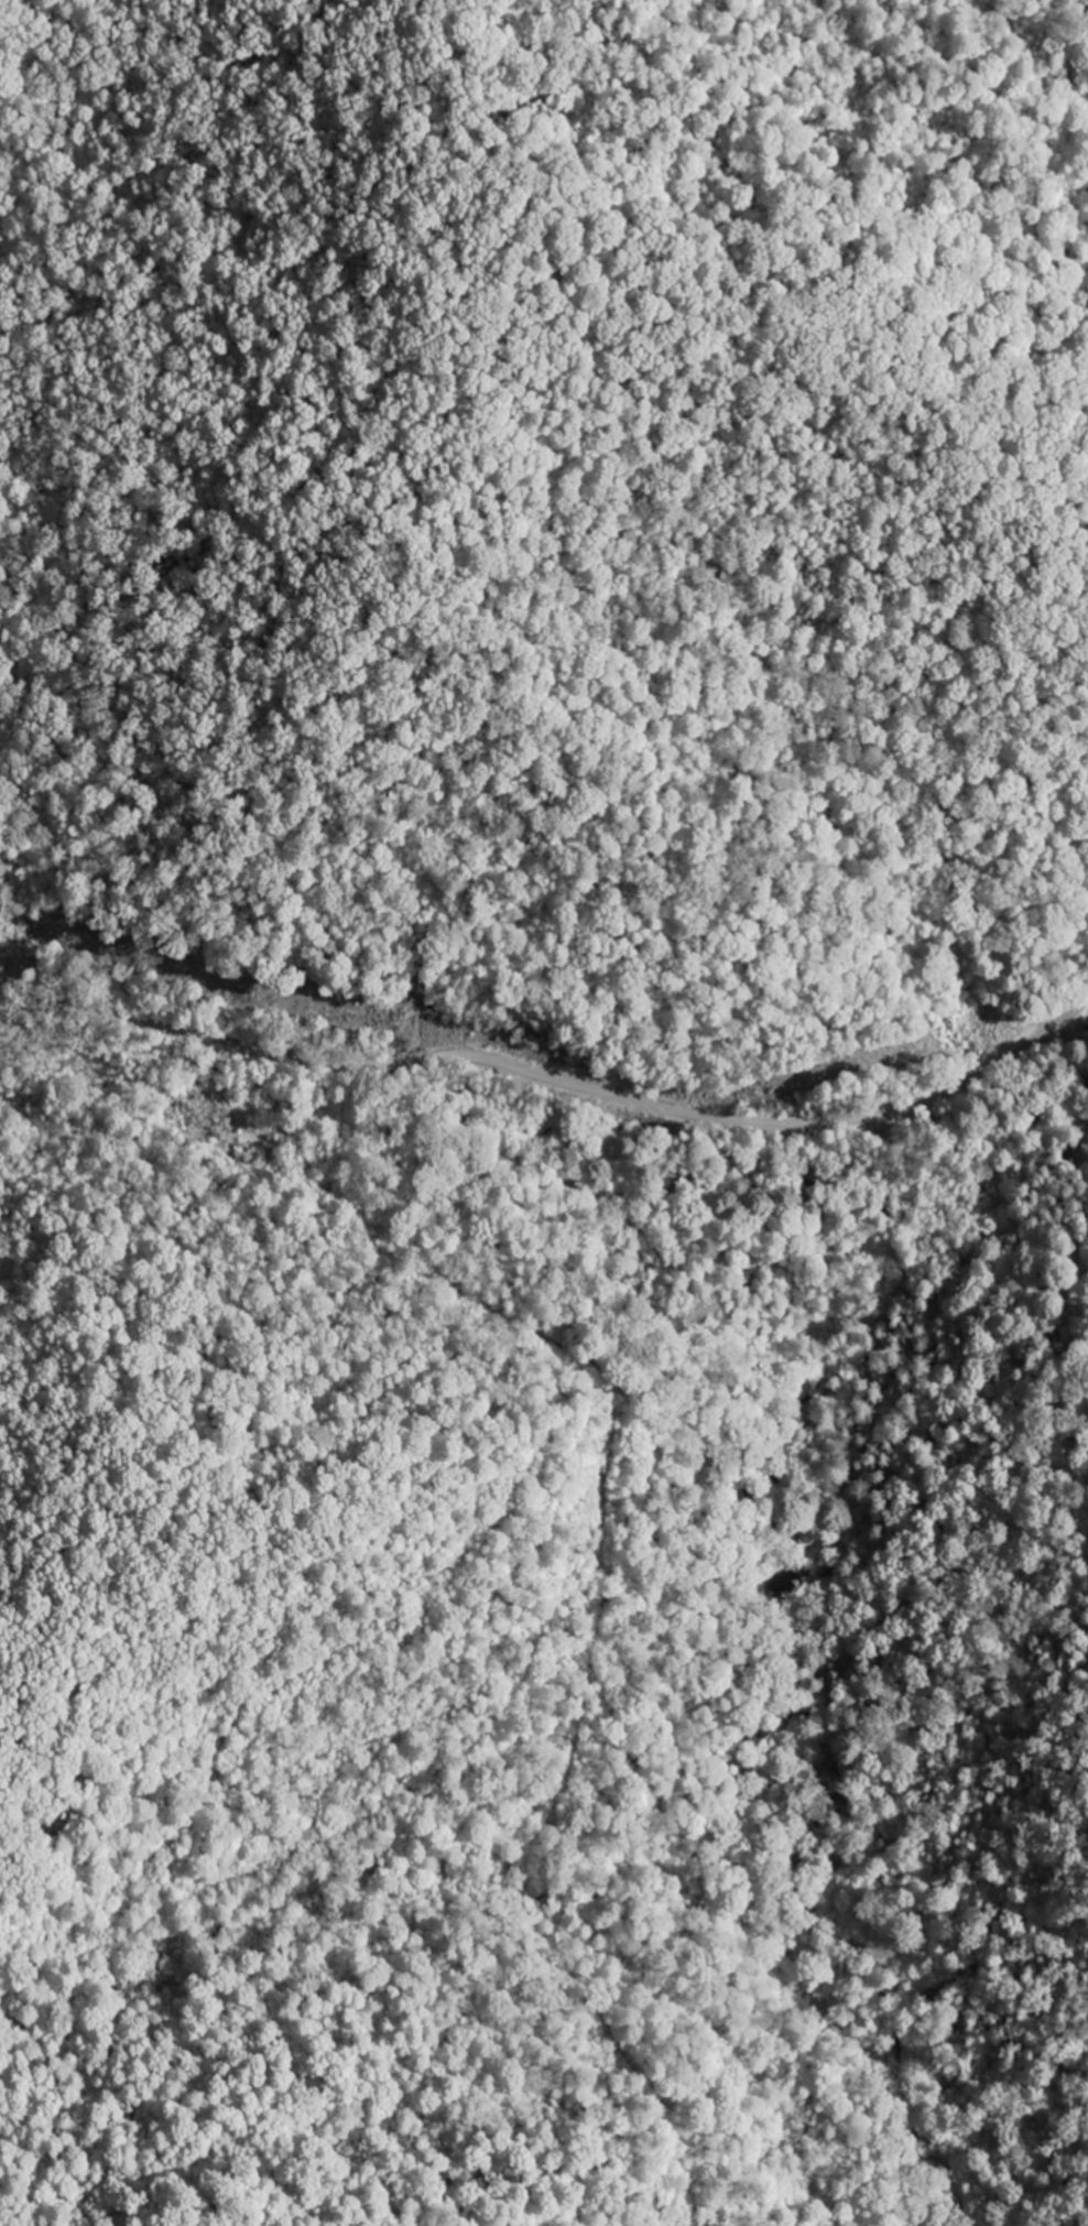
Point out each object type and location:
road: (561, 1077)

